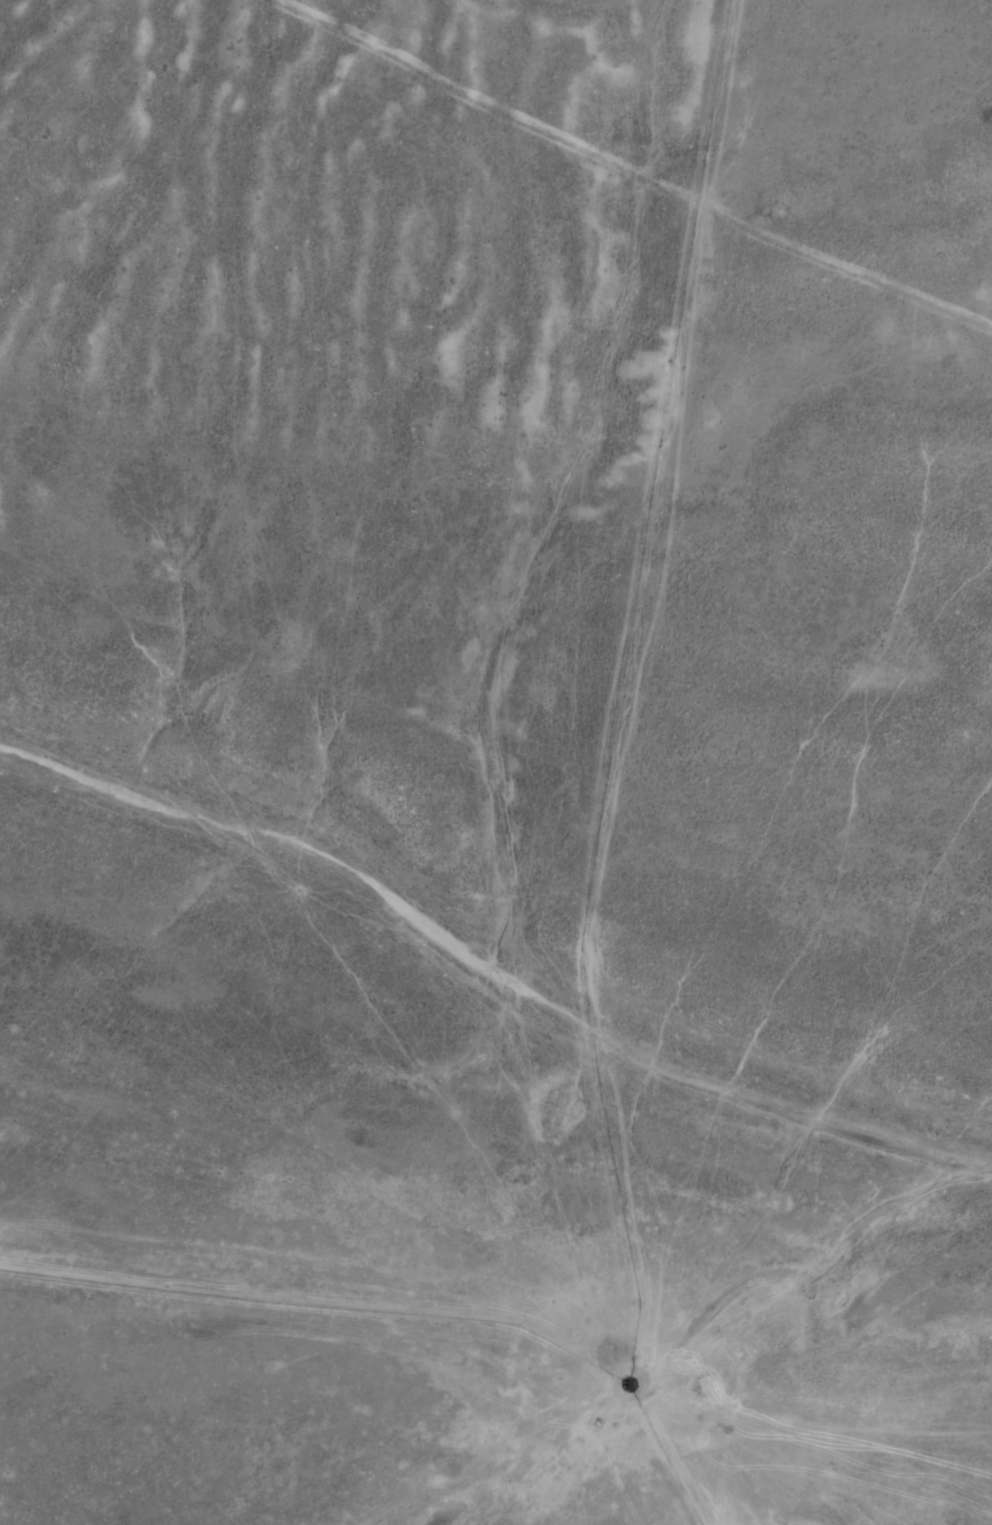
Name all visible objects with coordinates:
road: (6, 1196)
road: (420, 1262)

